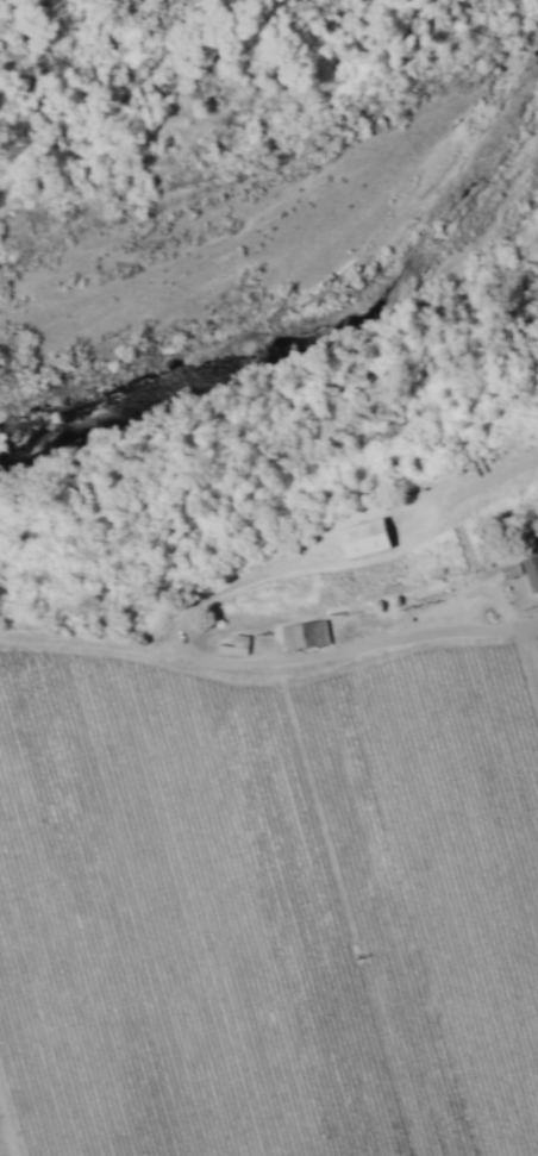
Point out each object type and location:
river: (269, 202)
building: (361, 537)
building: (530, 570)
building: (302, 633)
road: (534, 689)
crop: (275, 888)

